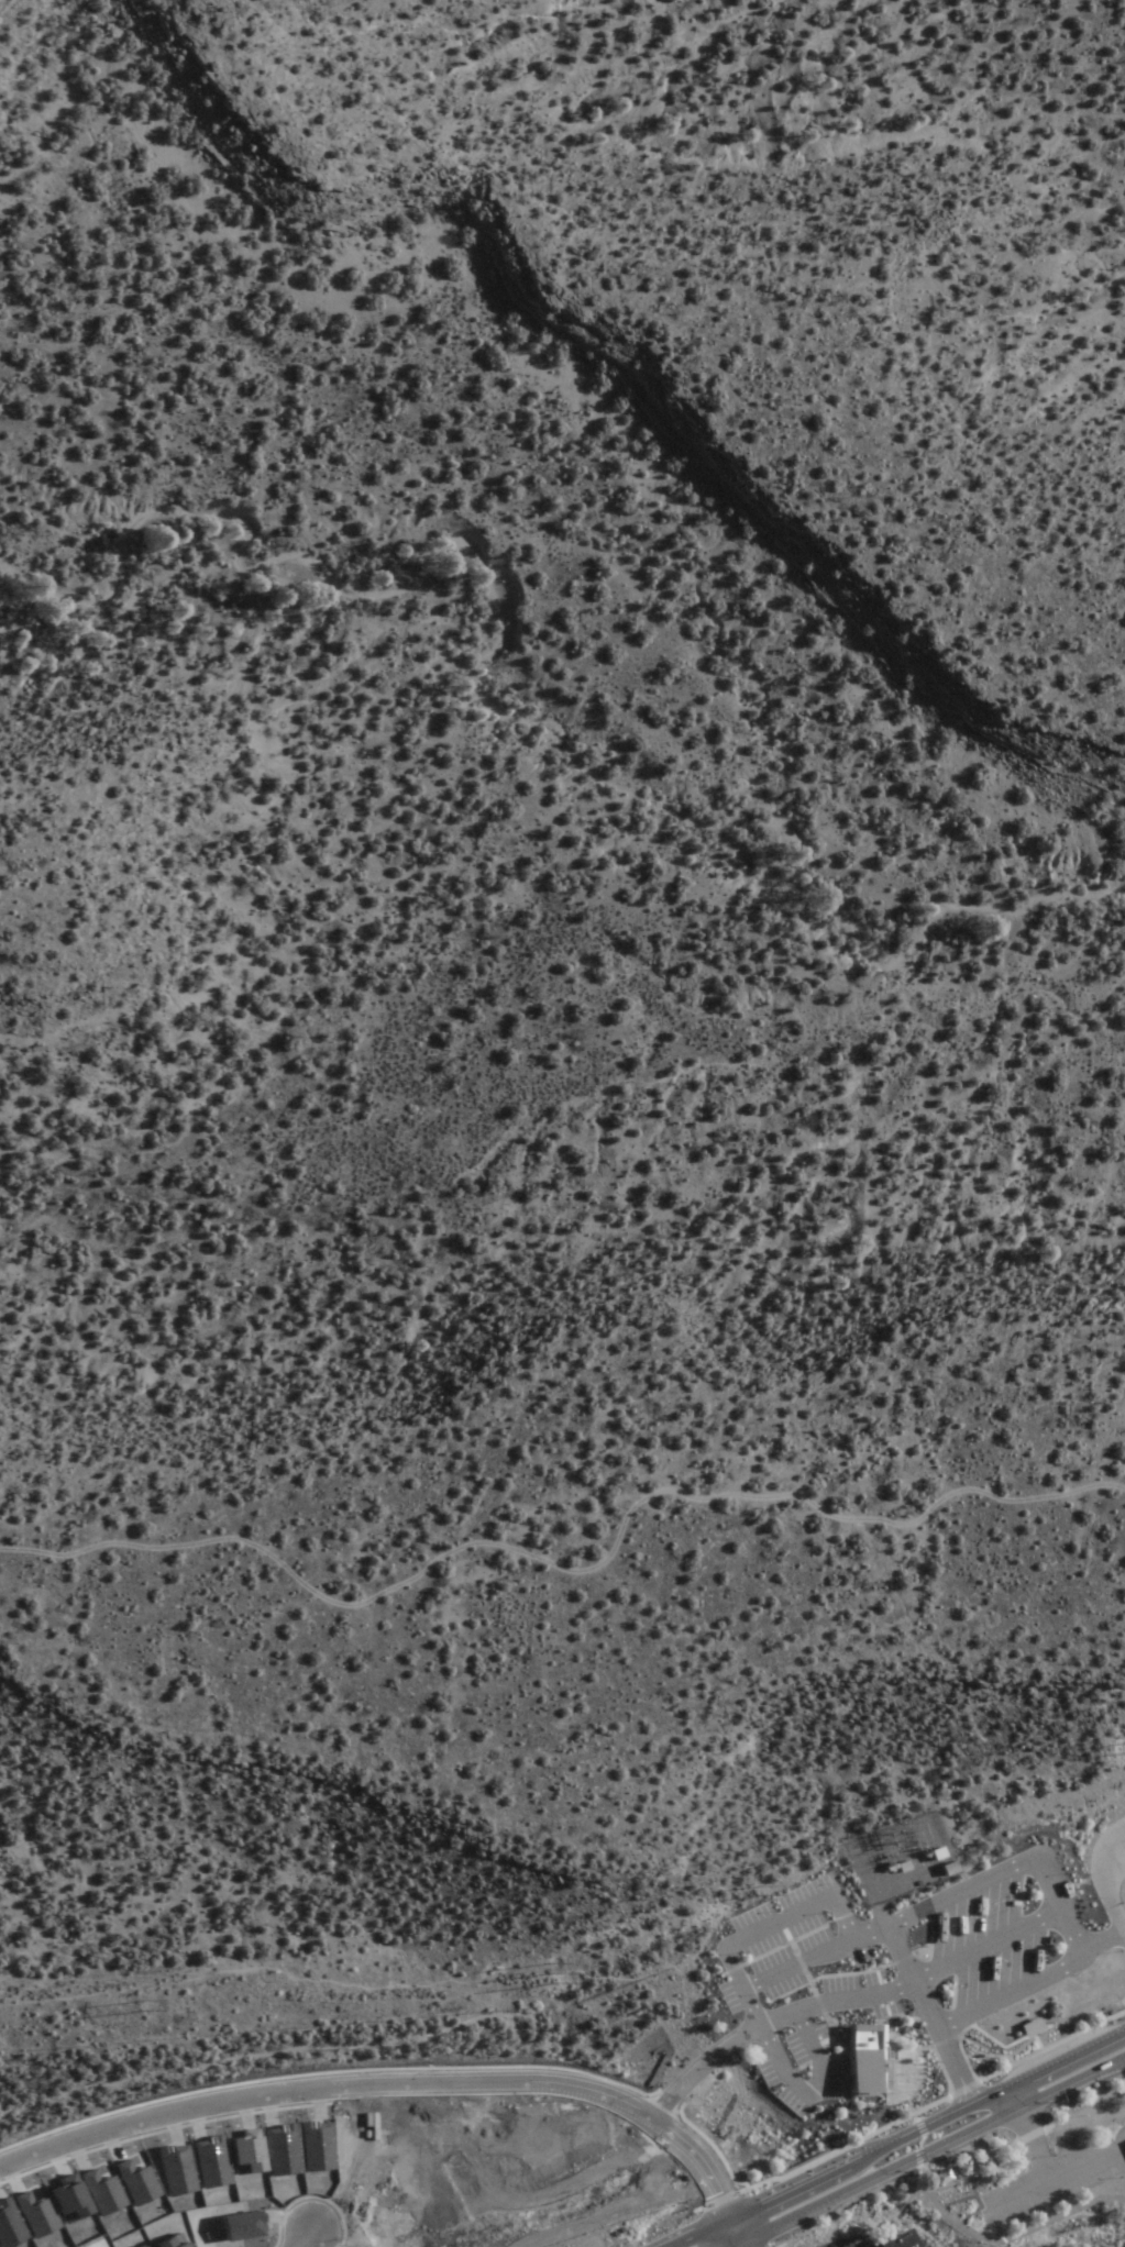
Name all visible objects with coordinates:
road: (571, 1568)
power substation: (900, 1859)
building: (940, 1868)
parking lot: (799, 1888)
road: (1101, 1889)
road: (912, 1910)
parking lot: (746, 1912)
road: (791, 1963)
road: (1021, 1977)
road: (133, 1981)
road: (765, 2022)
building: (1023, 2025)
road: (728, 2043)
road: (1089, 2043)
road: (808, 2048)
building: (853, 2062)
road: (1093, 2063)
road: (1008, 2081)
road: (379, 2084)
road: (1021, 2122)
road: (911, 2125)
road: (887, 2163)
road: (941, 2167)
road: (787, 2180)
parking lot: (1046, 2184)
road: (684, 2228)
road: (729, 2228)
road: (1010, 2237)
road: (307, 2240)
building: (889, 2240)
parking lot: (839, 2242)

